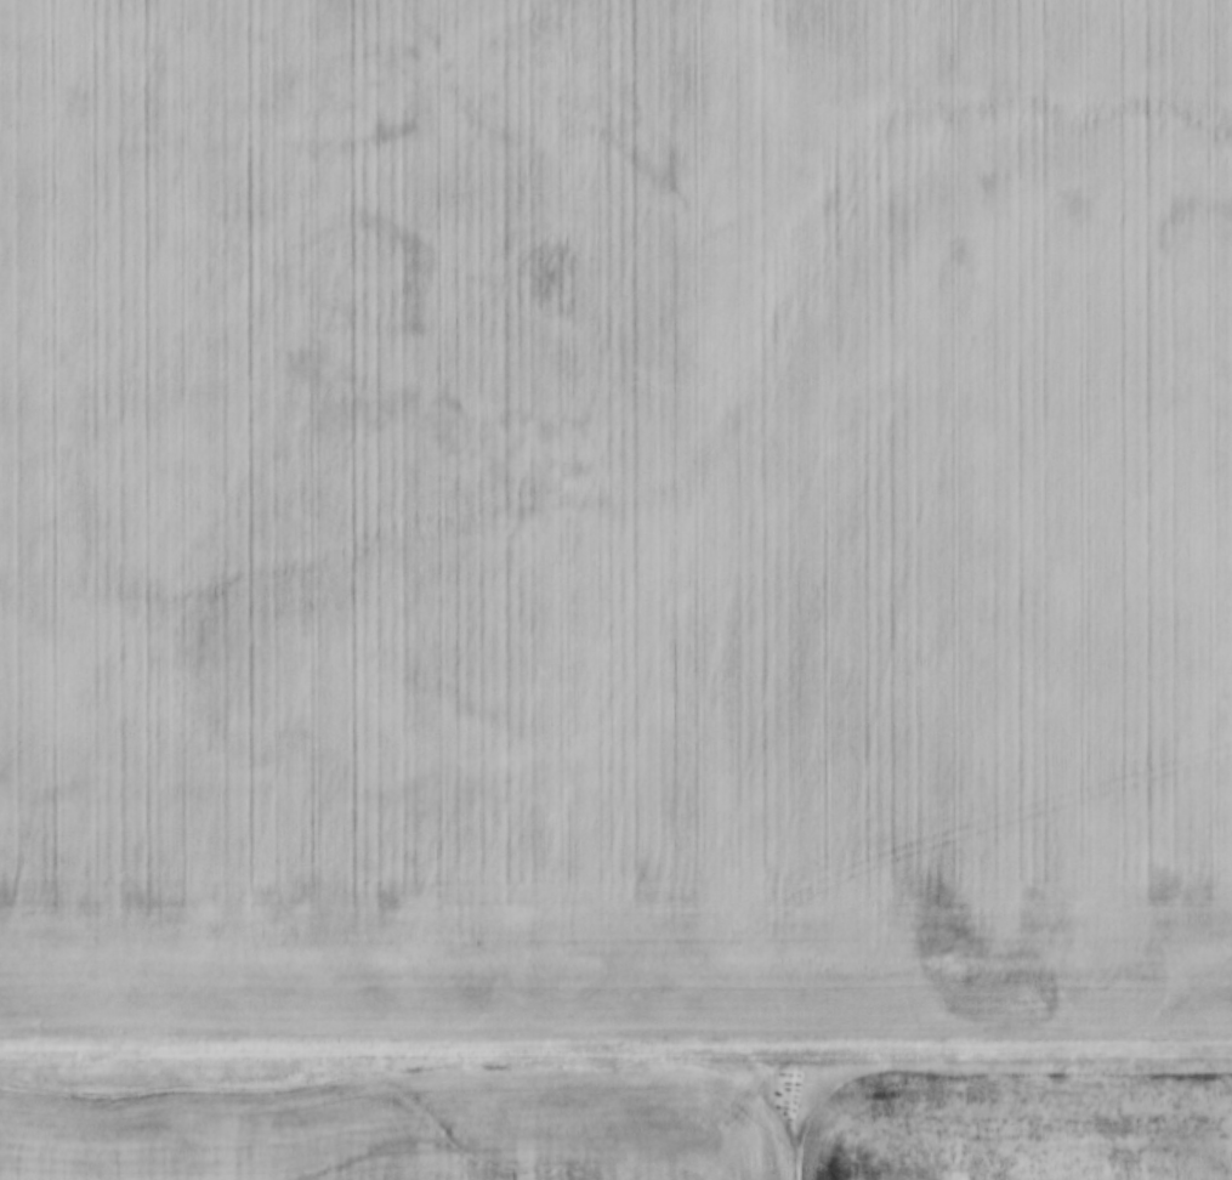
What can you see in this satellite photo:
road: (615, 1053)

